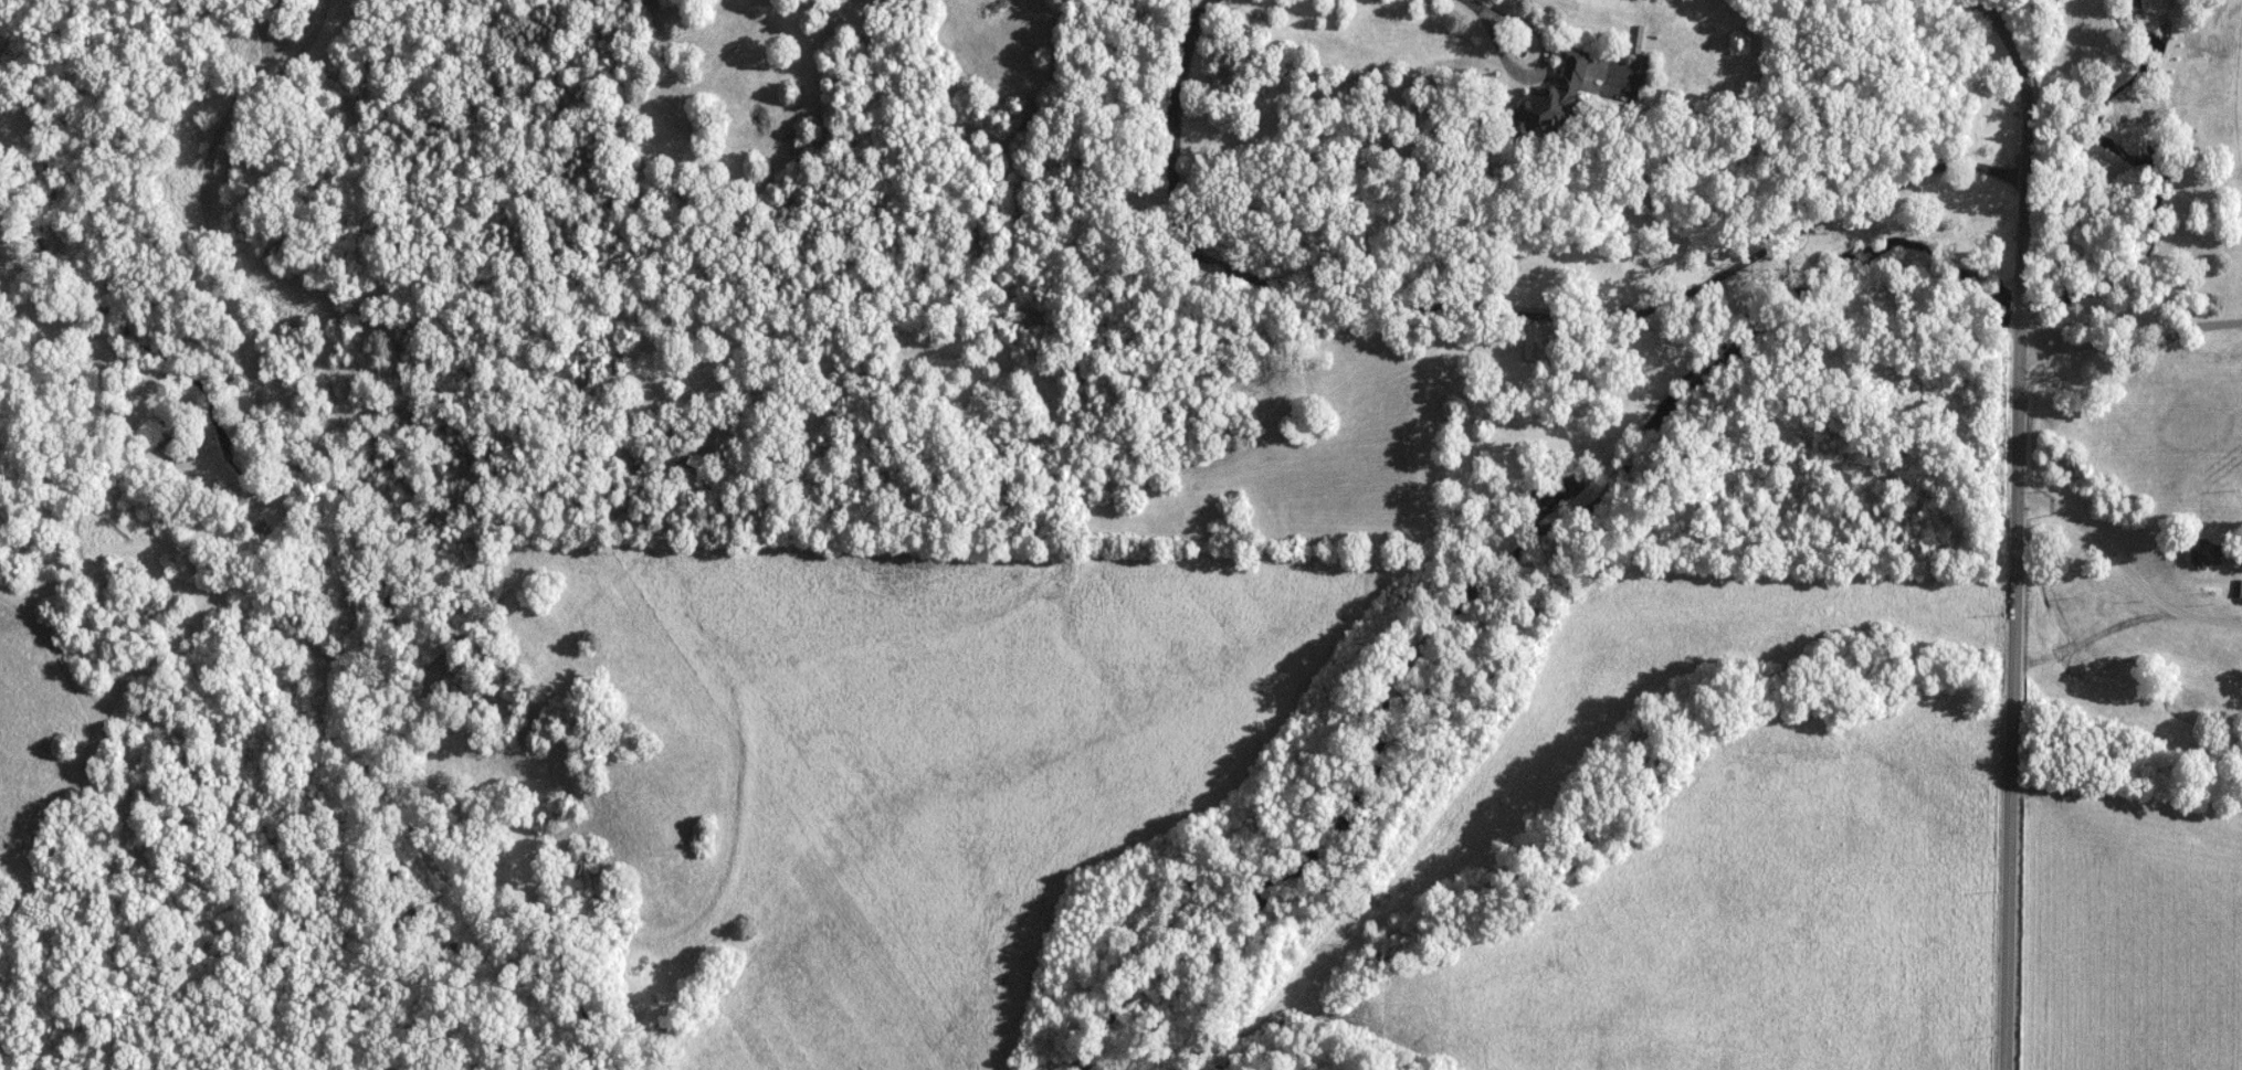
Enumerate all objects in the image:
road: (1475, 6)
road: (1539, 66)
building: (1554, 103)
road: (1488, 312)
building: (1536, 341)
road: (2133, 343)
building: (168, 445)
road: (2015, 525)
building: (2208, 553)
road: (2125, 569)

